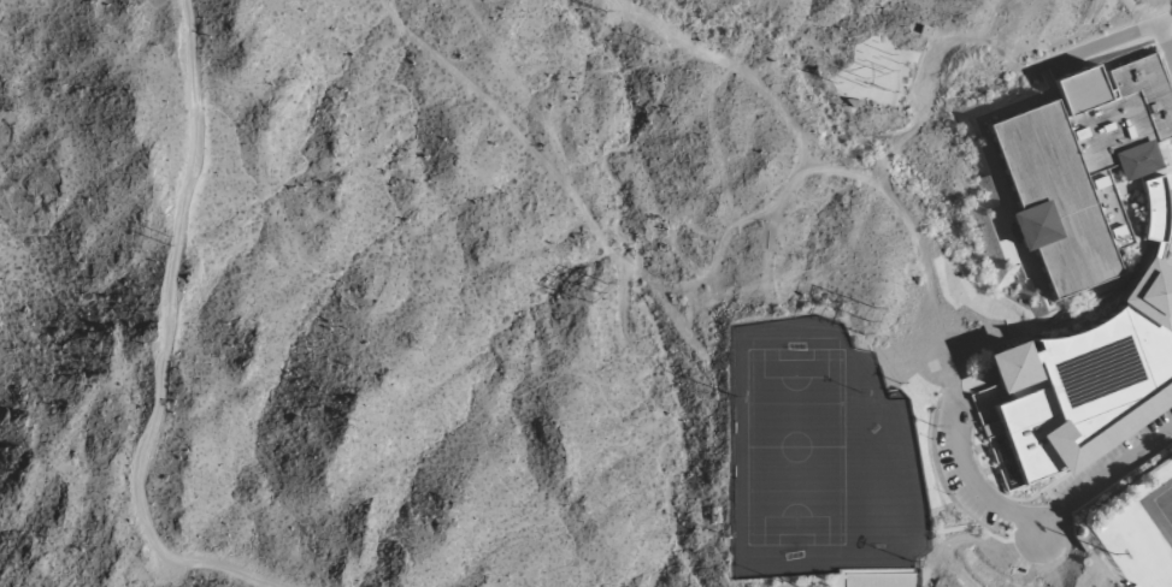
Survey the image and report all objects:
power tower: (597, 11)
road: (1136, 11)
road: (1088, 25)
road: (1164, 43)
road: (1094, 46)
road: (729, 61)
road: (1001, 195)
power tower: (166, 238)
road: (1132, 257)
building: (1083, 267)
road: (689, 278)
power tower: (597, 292)
power tower: (866, 321)
road: (1037, 331)
road: (160, 343)
park: (794, 447)
park: (795, 447)
parking lot: (1113, 464)
parking lot: (967, 478)
road: (999, 491)
park: (1165, 505)
road: (1012, 510)
road: (1041, 529)
road: (926, 538)
road: (1086, 575)
park: (882, 580)
road: (955, 580)

